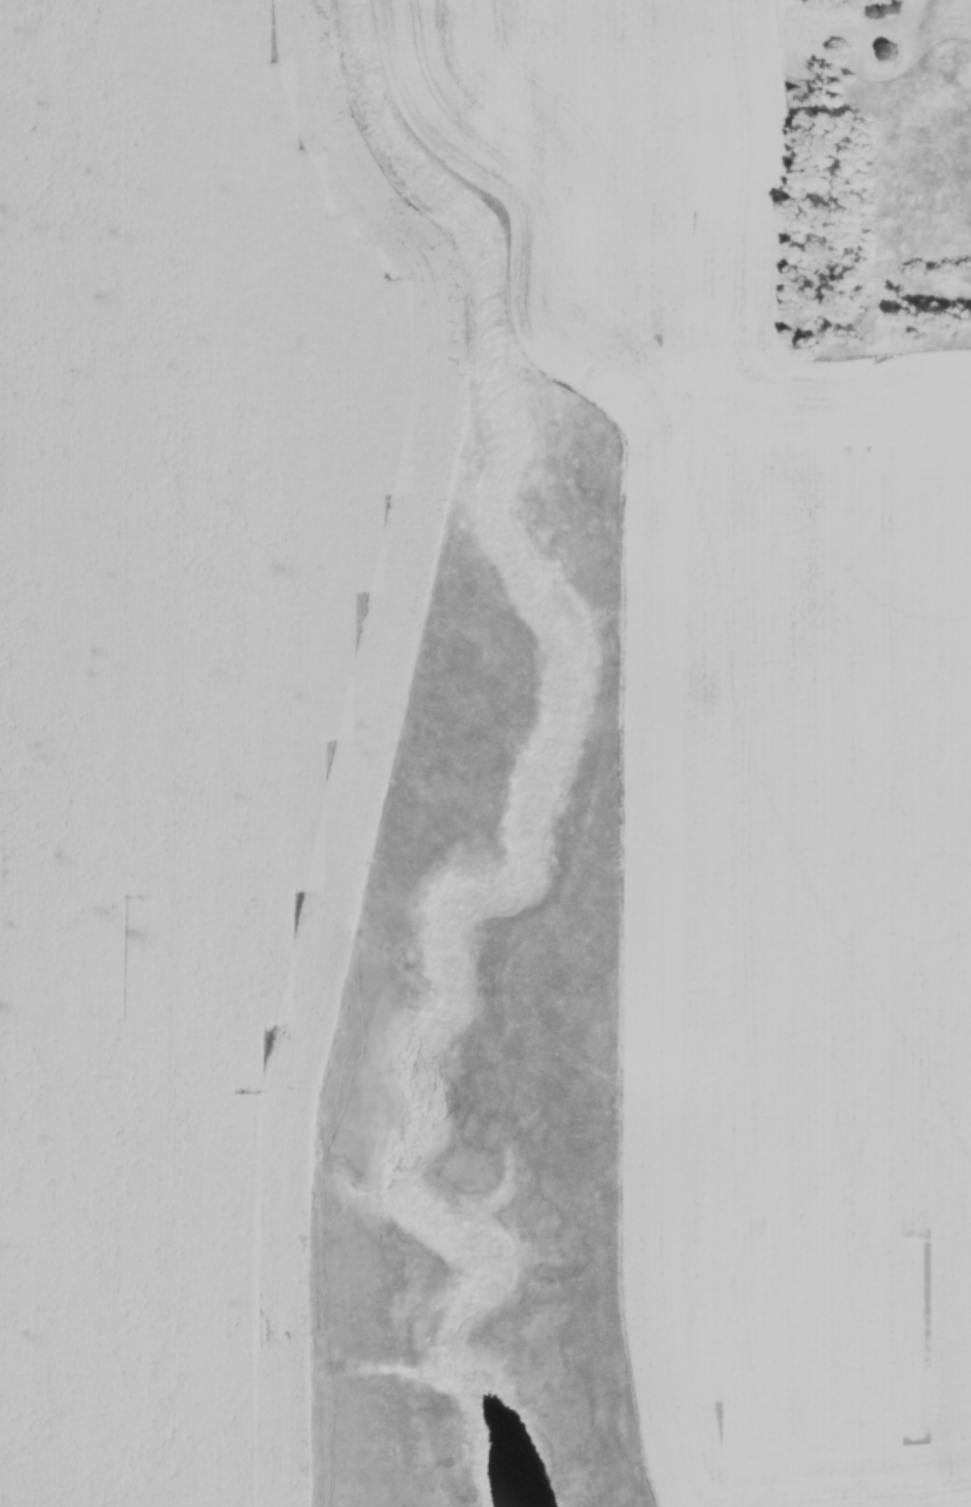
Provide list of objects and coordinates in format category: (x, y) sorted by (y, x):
road: (929, 13)
building: (952, 48)
building: (892, 54)

